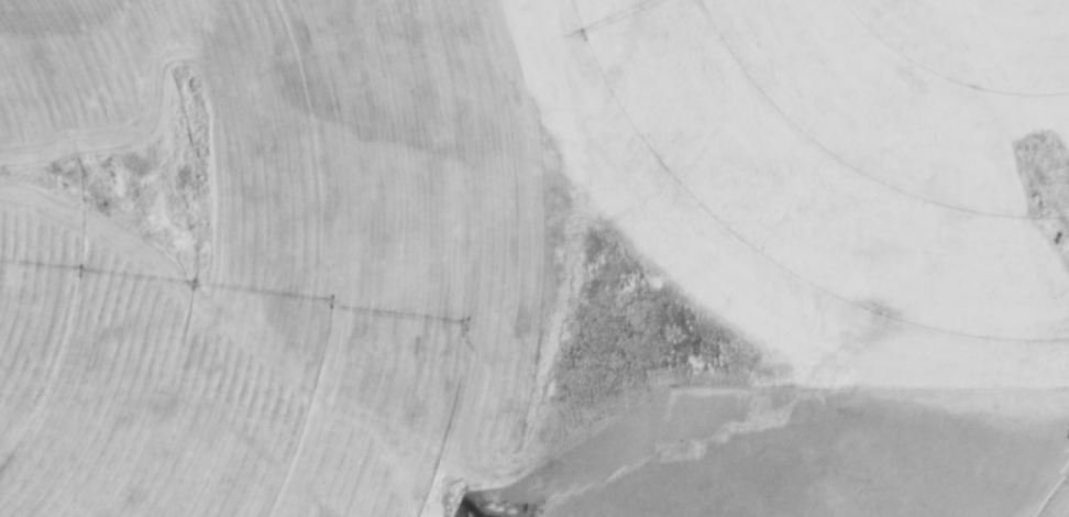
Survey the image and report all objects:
road: (1012, 98)

